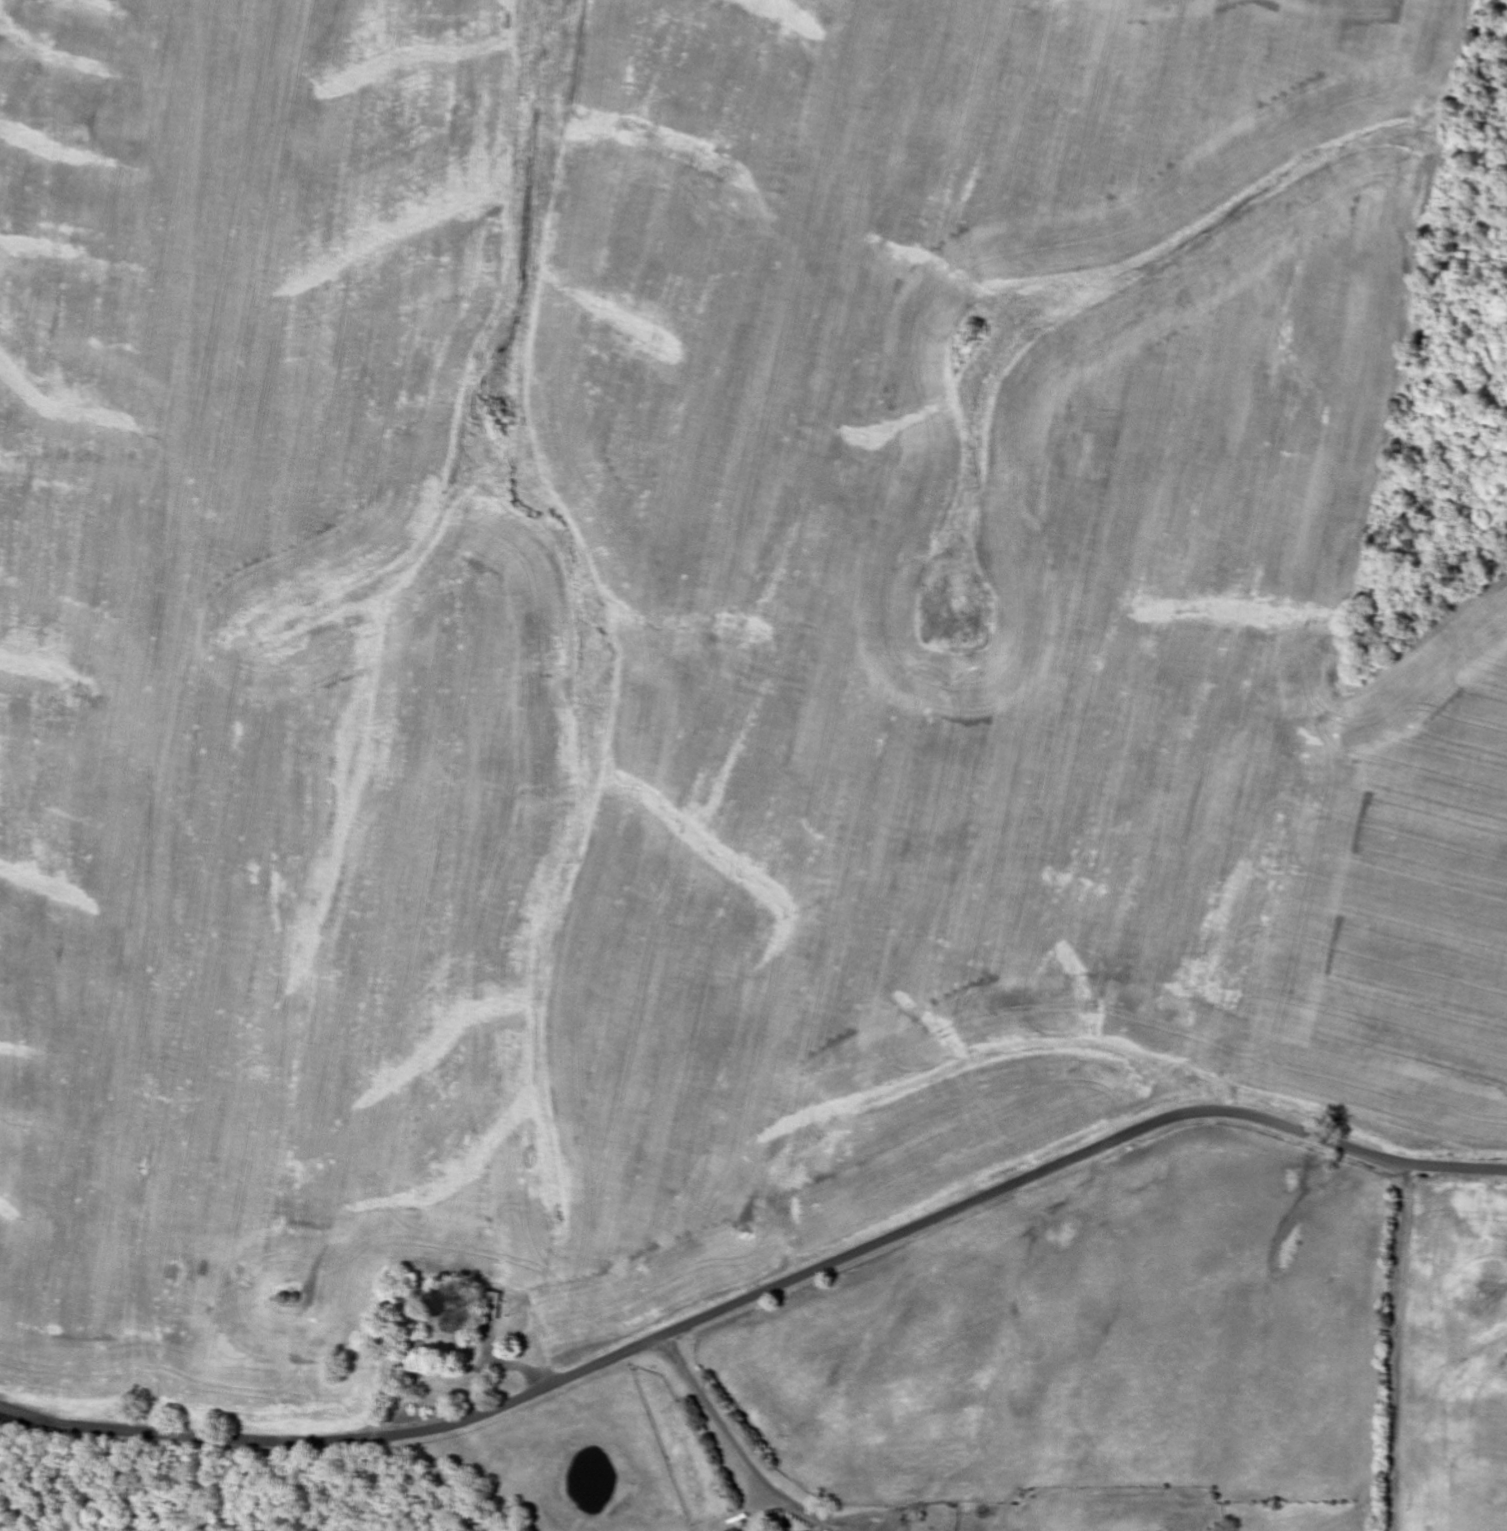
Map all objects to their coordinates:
road: (760, 1295)
building: (491, 1306)

